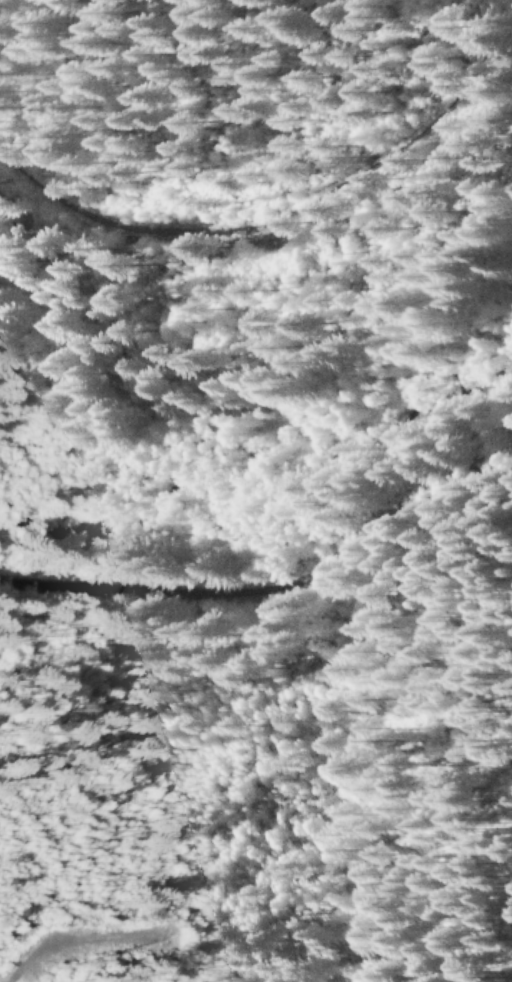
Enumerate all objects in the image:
road: (422, 0)
road: (290, 220)
river: (288, 432)
road: (272, 583)

